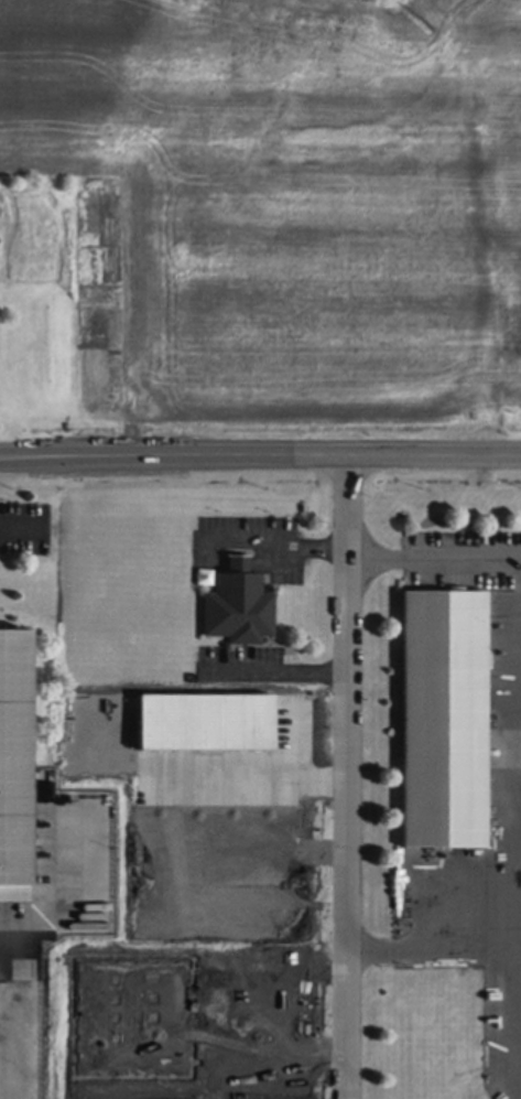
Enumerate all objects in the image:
crop: (276, 213)
road: (23, 453)
road: (283, 455)
road: (23, 459)
road: (10, 522)
road: (272, 543)
road: (431, 558)
building: (238, 604)
road: (274, 672)
building: (444, 719)
building: (14, 764)
road: (341, 776)
road: (58, 898)
road: (456, 945)
road: (366, 946)

